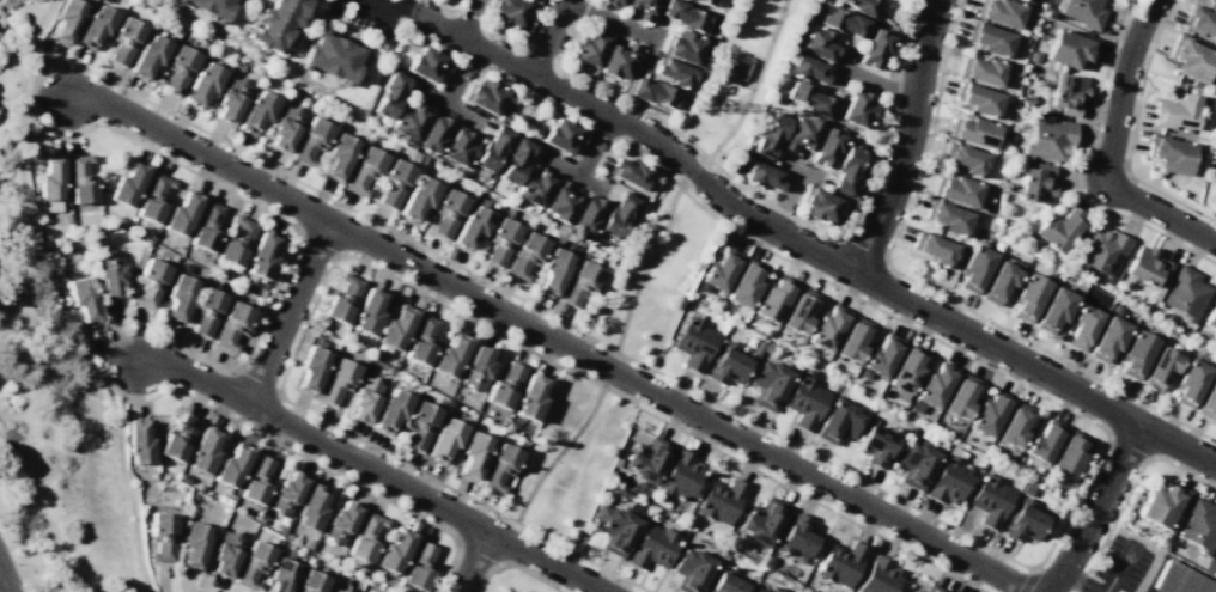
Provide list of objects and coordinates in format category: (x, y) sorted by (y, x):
building: (457, 0)
building: (1027, 0)
building: (706, 1)
building: (613, 4)
road: (391, 6)
building: (862, 6)
building: (209, 7)
building: (642, 8)
building: (999, 11)
building: (506, 12)
building: (1083, 12)
building: (683, 14)
road: (305, 16)
road: (468, 18)
road: (608, 18)
building: (1200, 19)
building: (67, 20)
building: (843, 22)
building: (273, 23)
road: (479, 23)
road: (531, 23)
building: (95, 26)
road: (1160, 28)
road: (364, 31)
road: (548, 36)
building: (989, 38)
building: (124, 41)
road: (651, 43)
building: (820, 44)
building: (589, 47)
building: (681, 47)
building: (874, 48)
building: (1069, 48)
building: (330, 55)
building: (148, 56)
building: (703, 56)
building: (1033, 57)
building: (1188, 57)
road: (461, 60)
building: (618, 60)
building: (427, 63)
road: (839, 67)
building: (807, 68)
building: (177, 69)
building: (981, 71)
road: (460, 73)
building: (673, 73)
park: (740, 74)
building: (202, 83)
road: (753, 83)
road: (877, 83)
road: (604, 90)
building: (651, 92)
building: (1066, 92)
building: (389, 94)
building: (485, 94)
road: (531, 97)
building: (808, 98)
building: (231, 99)
building: (977, 99)
building: (1026, 100)
power tower: (725, 105)
road: (448, 106)
building: (857, 109)
building: (256, 112)
building: (1174, 112)
road: (523, 115)
building: (501, 116)
building: (408, 120)
building: (284, 128)
building: (973, 130)
building: (432, 134)
building: (801, 134)
building: (561, 135)
building: (768, 135)
road: (906, 139)
building: (1048, 139)
building: (310, 141)
road: (595, 145)
building: (1200, 145)
building: (458, 146)
building: (826, 147)
building: (491, 148)
road: (1111, 148)
building: (1168, 153)
building: (339, 155)
building: (965, 158)
building: (515, 160)
road: (1127, 164)
road: (273, 167)
road: (799, 169)
road: (1078, 169)
building: (364, 170)
road: (693, 170)
building: (845, 170)
road: (193, 172)
road: (574, 172)
building: (627, 172)
building: (762, 175)
building: (1214, 177)
building: (80, 178)
building: (394, 183)
building: (1035, 183)
building: (49, 184)
building: (128, 184)
building: (534, 187)
building: (956, 190)
road: (687, 196)
road: (864, 196)
building: (153, 199)
building: (418, 199)
road: (786, 199)
building: (1214, 199)
building: (560, 202)
building: (817, 205)
building: (182, 213)
building: (446, 213)
building: (585, 214)
building: (615, 215)
building: (947, 218)
building: (207, 226)
road: (661, 226)
building: (470, 227)
road: (345, 228)
building: (1058, 230)
road: (645, 238)
building: (500, 240)
building: (236, 242)
road: (805, 246)
building: (932, 248)
building: (1102, 251)
building: (525, 255)
building: (261, 256)
building: (1145, 266)
road: (646, 267)
building: (974, 268)
building: (553, 270)
building: (718, 271)
building: (111, 273)
park: (652, 276)
building: (150, 281)
building: (999, 281)
building: (579, 283)
building: (744, 283)
road: (928, 289)
building: (1186, 293)
building: (83, 297)
building: (1028, 297)
building: (180, 298)
building: (341, 298)
building: (773, 298)
building: (797, 310)
building: (1053, 310)
building: (206, 311)
road: (288, 311)
building: (367, 312)
building: (1210, 317)
building: (231, 324)
building: (396, 326)
building: (826, 326)
building: (1082, 326)
road: (256, 334)
building: (1107, 338)
building: (852, 340)
road: (105, 341)
building: (422, 341)
building: (693, 343)
building: (756, 348)
building: (1136, 353)
building: (451, 354)
building: (878, 356)
building: (726, 364)
building: (476, 367)
building: (311, 368)
road: (608, 368)
building: (1160, 368)
road: (122, 372)
building: (905, 372)
building: (336, 380)
building: (1190, 380)
building: (504, 384)
building: (768, 384)
road: (53, 385)
building: (931, 386)
building: (960, 396)
building: (530, 397)
building: (364, 398)
building: (1208, 399)
building: (804, 401)
building: (390, 410)
building: (987, 413)
building: (837, 420)
building: (419, 425)
road: (668, 425)
building: (1014, 426)
building: (178, 438)
building: (444, 440)
building: (1042, 440)
building: (139, 441)
building: (876, 441)
building: (203, 451)
building: (473, 453)
road: (388, 454)
building: (1068, 454)
park: (565, 459)
building: (646, 459)
road: (312, 460)
road: (551, 460)
building: (916, 464)
building: (232, 465)
building: (500, 466)
road: (373, 470)
building: (680, 476)
building: (950, 477)
building: (256, 480)
road: (826, 484)
building: (1026, 490)
building: (286, 493)
road: (1127, 493)
building: (721, 500)
building: (990, 501)
building: (1161, 505)
building: (312, 507)
road: (1096, 508)
road: (42, 518)
building: (761, 520)
building: (340, 521)
building: (1022, 521)
building: (1199, 525)
building: (613, 529)
building: (796, 536)
building: (162, 537)
building: (365, 537)
building: (194, 543)
road: (19, 545)
building: (651, 547)
building: (395, 550)
building: (226, 553)
road: (473, 561)
building: (767, 561)
building: (839, 562)
building: (1212, 563)
building: (253, 564)
road: (513, 564)
building: (419, 566)
road: (1025, 566)
building: (691, 569)
road: (1117, 569)
road: (1033, 574)
building: (281, 575)
building: (877, 576)
road: (5, 580)
building: (1180, 580)
building: (724, 581)
road: (1078, 581)
building: (310, 582)
park: (512, 582)
building: (932, 588)
road: (200, 590)
building: (340, 590)
building: (765, 590)
building: (914, 591)

